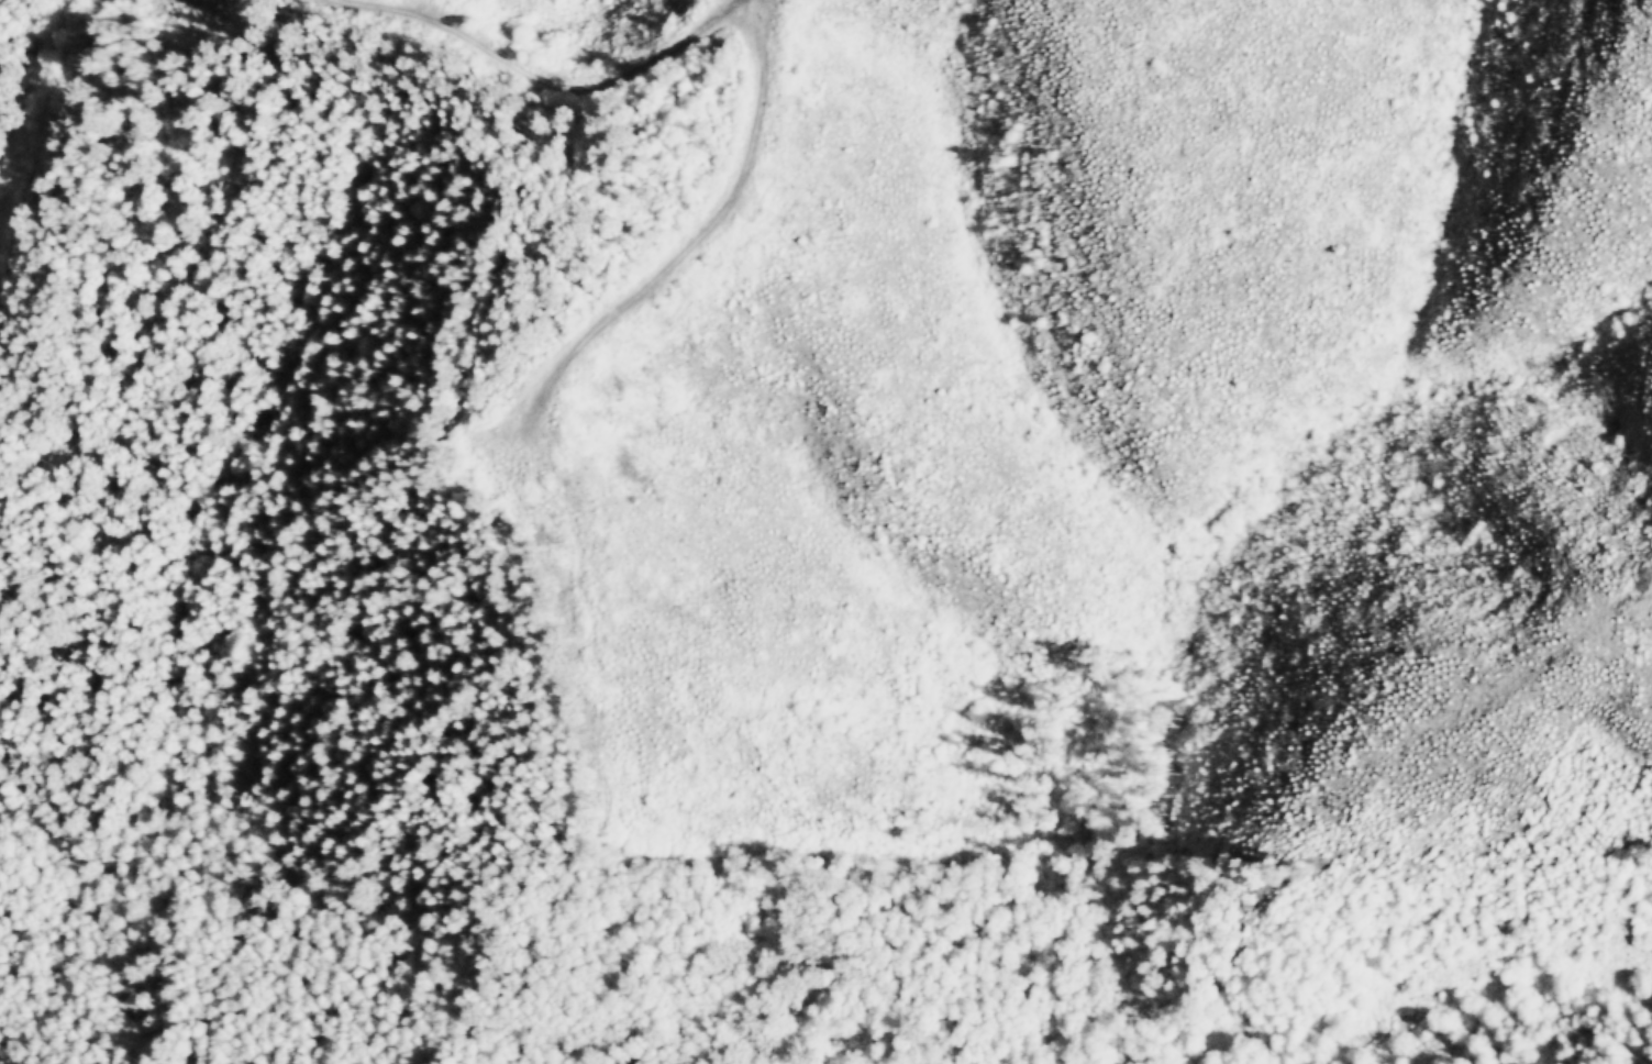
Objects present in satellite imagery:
road: (550, 81)
road: (26, 163)

